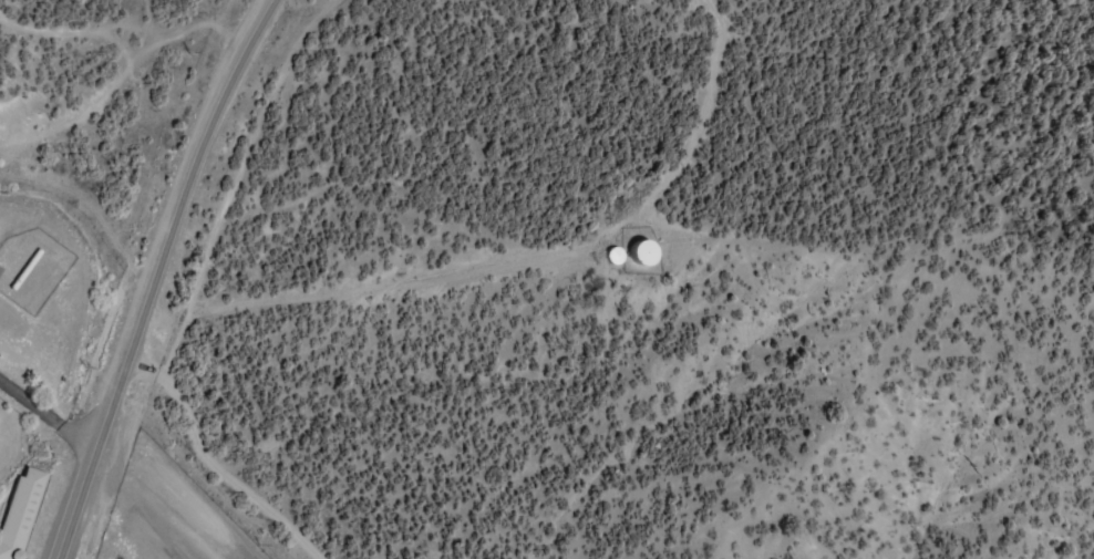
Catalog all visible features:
road: (100, 102)
building: (642, 249)
storage tank: (642, 249)
building: (612, 252)
storage tank: (612, 252)
road: (152, 275)
road: (80, 396)
building: (19, 513)

